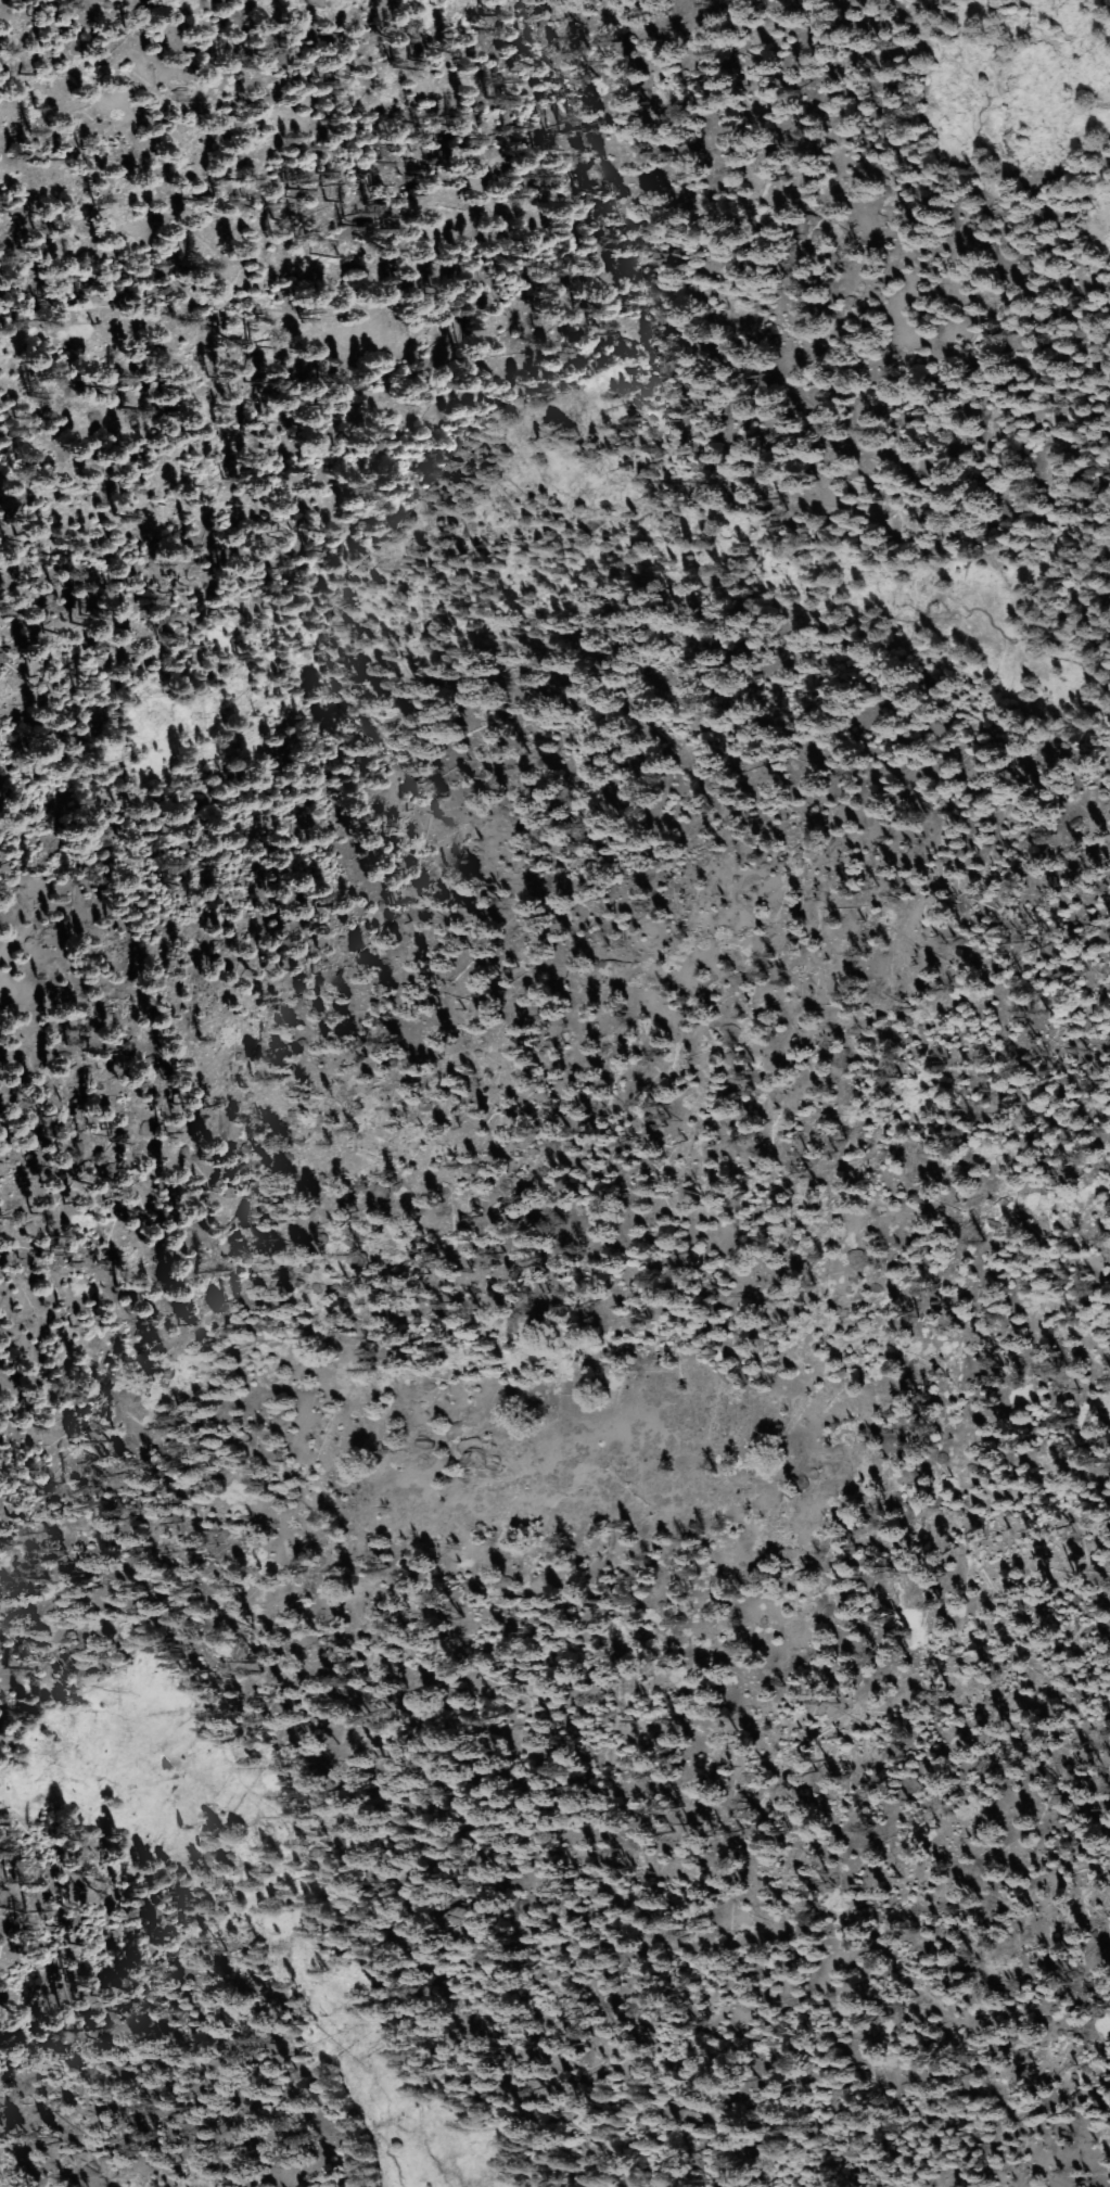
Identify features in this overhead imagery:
road: (535, 704)

